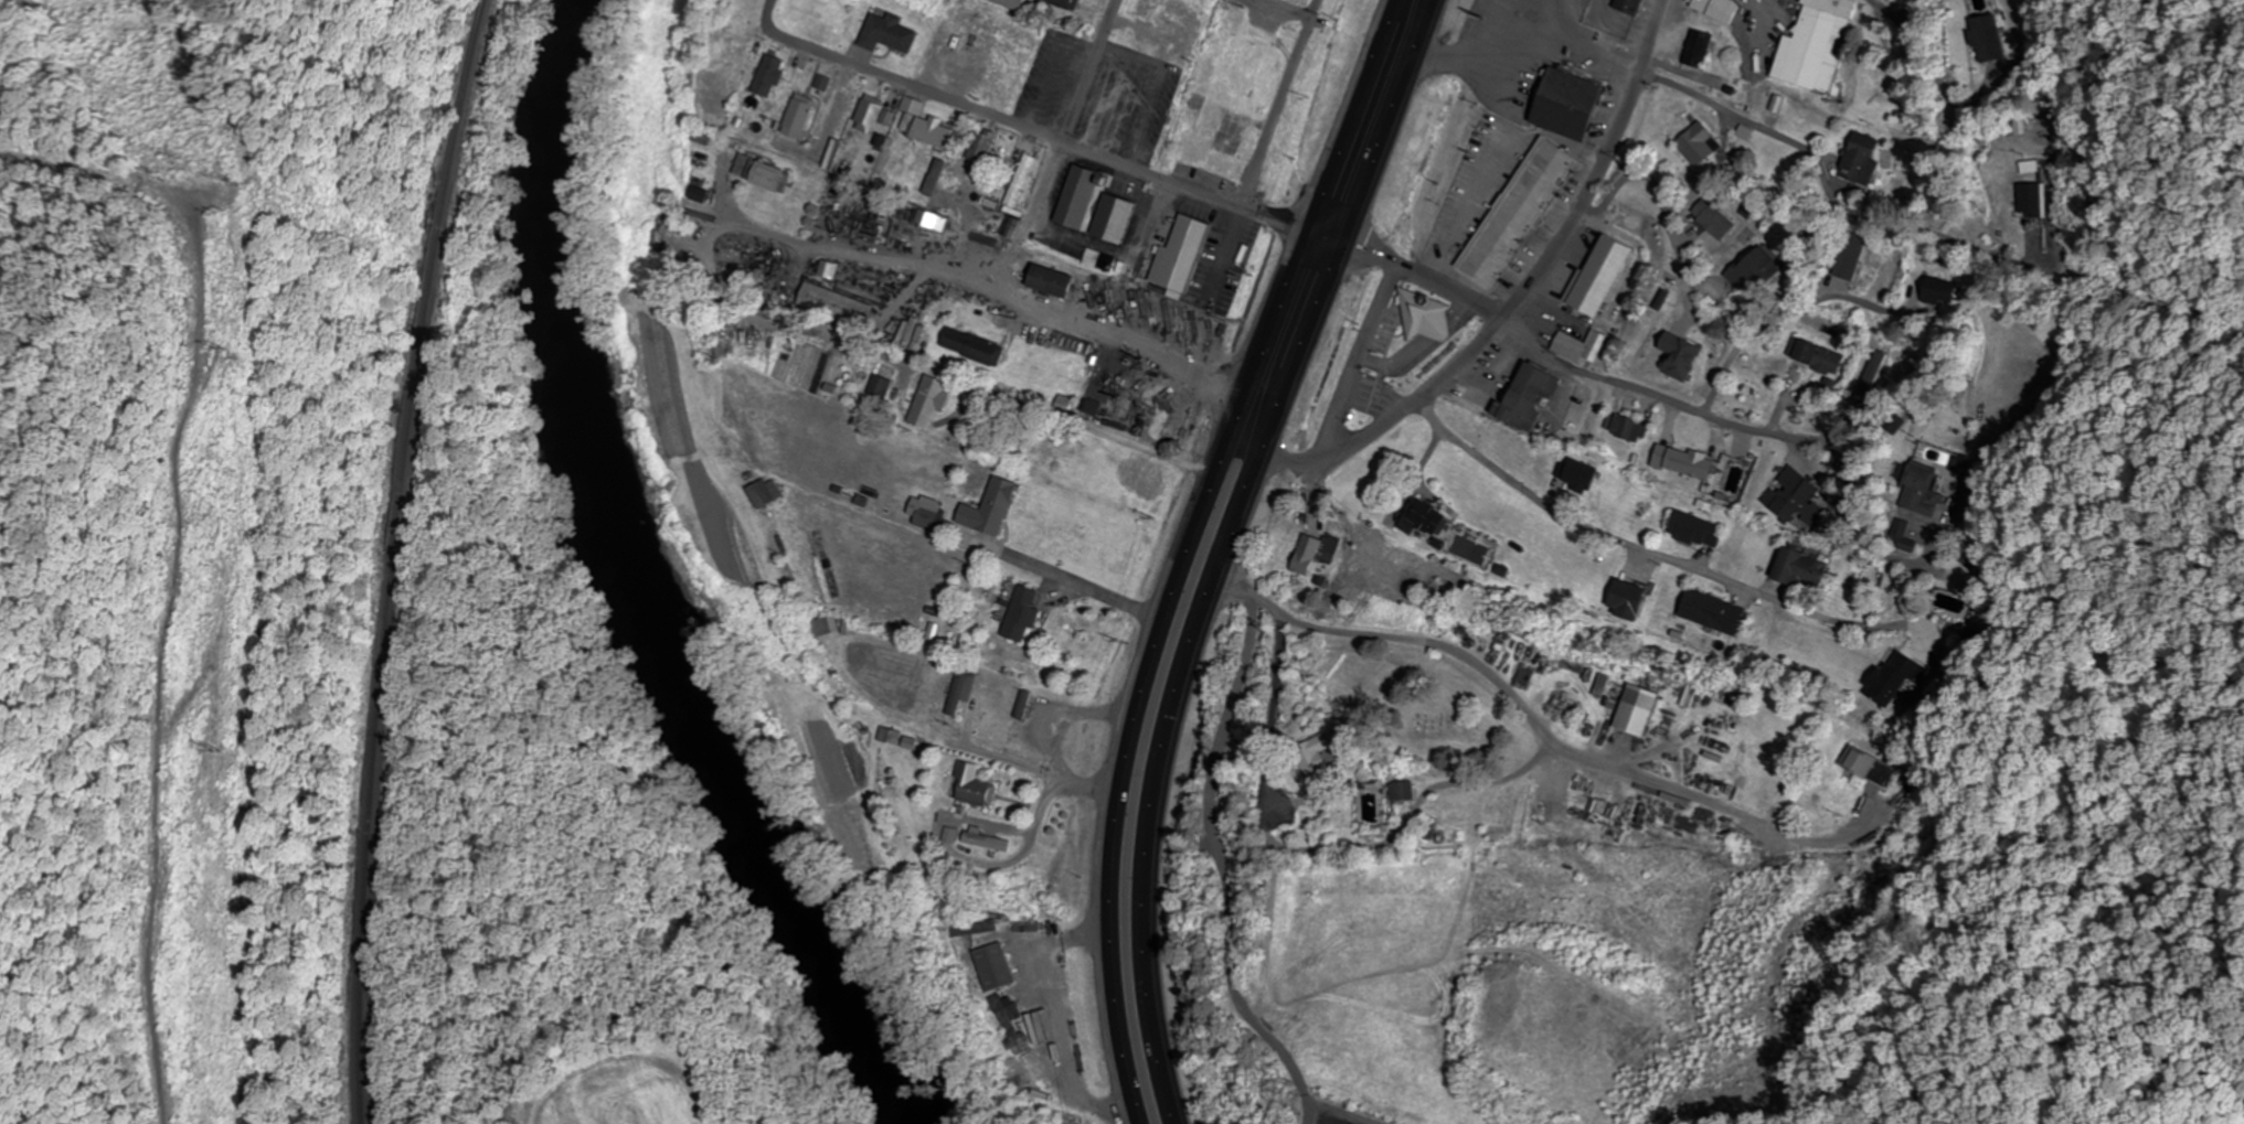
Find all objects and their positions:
building: (1066, 3)
building: (1158, 3)
building: (1631, 6)
building: (1717, 8)
road: (1286, 9)
building: (1233, 19)
building: (891, 33)
building: (1987, 38)
building: (1170, 41)
building: (1817, 44)
building: (1699, 47)
building: (956, 56)
building: (1012, 62)
road: (1933, 67)
road: (1091, 69)
building: (773, 76)
building: (1033, 92)
road: (1279, 101)
building: (1568, 103)
road: (1725, 109)
building: (872, 114)
road: (1353, 116)
building: (801, 117)
building: (932, 130)
road: (1045, 132)
building: (708, 137)
building: (1700, 144)
building: (982, 146)
building: (1221, 151)
building: (1861, 159)
building: (770, 176)
building: (1021, 181)
road: (1660, 190)
building: (701, 194)
building: (2028, 200)
building: (1094, 204)
building: (1518, 212)
building: (1715, 218)
building: (934, 220)
building: (1626, 221)
traffic signals: (1308, 232)
traffic signals: (1342, 247)
building: (1180, 255)
building: (1852, 255)
building: (1756, 268)
building: (1603, 276)
building: (1901, 278)
building: (1051, 280)
road: (1427, 281)
building: (1940, 291)
building: (838, 303)
road: (1521, 309)
road: (1789, 309)
building: (1422, 313)
building: (1567, 345)
building: (974, 346)
building: (1818, 356)
building: (1881, 366)
building: (881, 388)
road: (993, 393)
building: (1528, 395)
road: (1659, 395)
building: (932, 402)
building: (1093, 405)
building: (1627, 427)
building: (1684, 461)
building: (1923, 490)
building: (767, 492)
building: (1796, 496)
building: (991, 507)
building: (932, 516)
building: (1424, 516)
building: (1697, 529)
building: (1904, 536)
road: (1617, 539)
road: (1224, 548)
building: (1305, 554)
railway: (392, 558)
building: (1801, 568)
road: (1075, 586)
river: (639, 589)
building: (1629, 599)
building: (1713, 612)
building: (1022, 614)
road: (1148, 666)
building: (1897, 679)
building: (963, 691)
building: (1639, 709)
road: (1540, 722)
building: (892, 725)
building: (1321, 760)
building: (1868, 766)
building: (975, 786)
building: (1405, 791)
building: (983, 838)
road: (1217, 852)
building: (976, 929)
building: (997, 966)
building: (1011, 1013)
building: (1025, 1042)
building: (1051, 1073)
road: (1308, 1112)
road: (1343, 1112)

